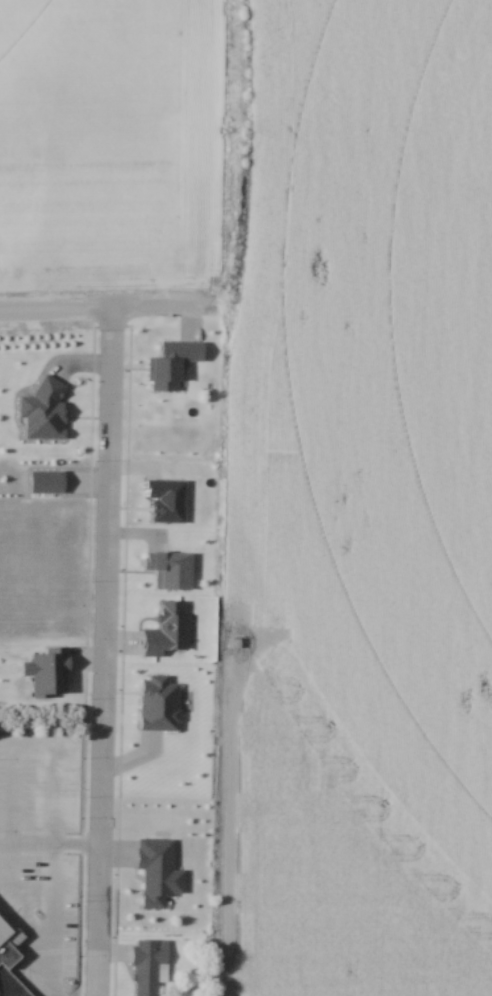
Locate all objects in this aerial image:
crop: (107, 137)
road: (104, 648)
building: (150, 966)
building: (1, 994)

